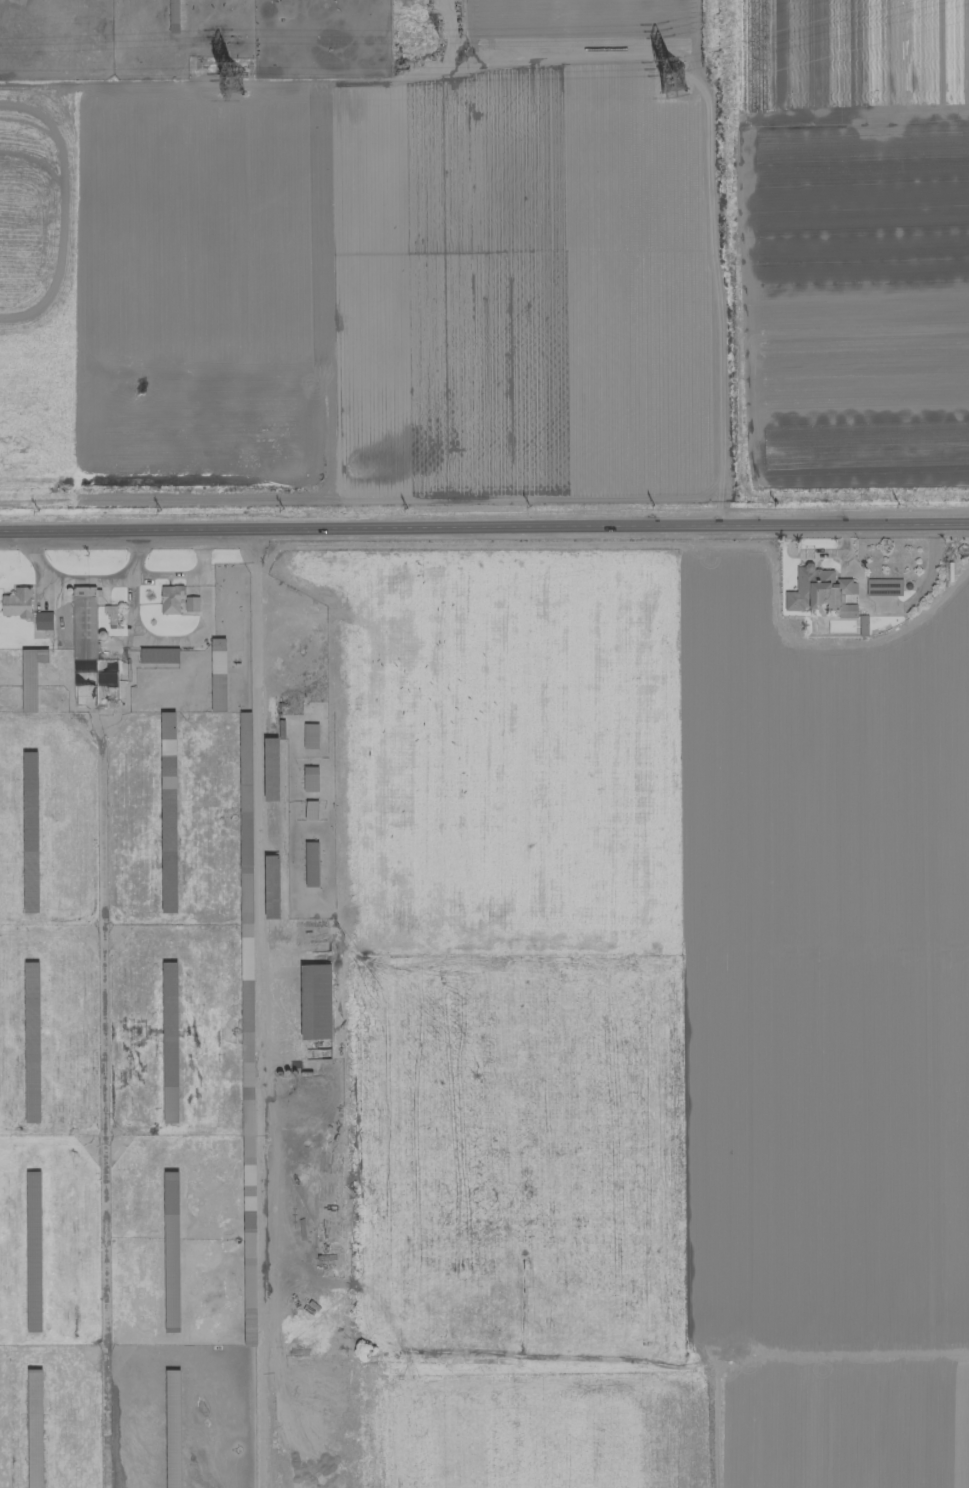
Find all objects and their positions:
building: (173, 11)
power tower: (232, 82)
power tower: (671, 85)
road: (484, 529)
road: (189, 574)
road: (90, 579)
building: (883, 587)
building: (819, 591)
building: (170, 599)
building: (16, 603)
building: (191, 604)
building: (42, 620)
building: (862, 625)
road: (174, 640)
building: (88, 647)
building: (158, 655)
building: (217, 675)
building: (30, 676)
building: (310, 735)
building: (270, 769)
building: (310, 779)
road: (256, 785)
building: (310, 810)
building: (168, 811)
building: (30, 824)
building: (311, 864)
building: (271, 886)
building: (315, 1001)
building: (31, 1040)
building: (169, 1042)
building: (171, 1249)
crop: (665, 1422)
building: (34, 1428)
building: (172, 1428)

